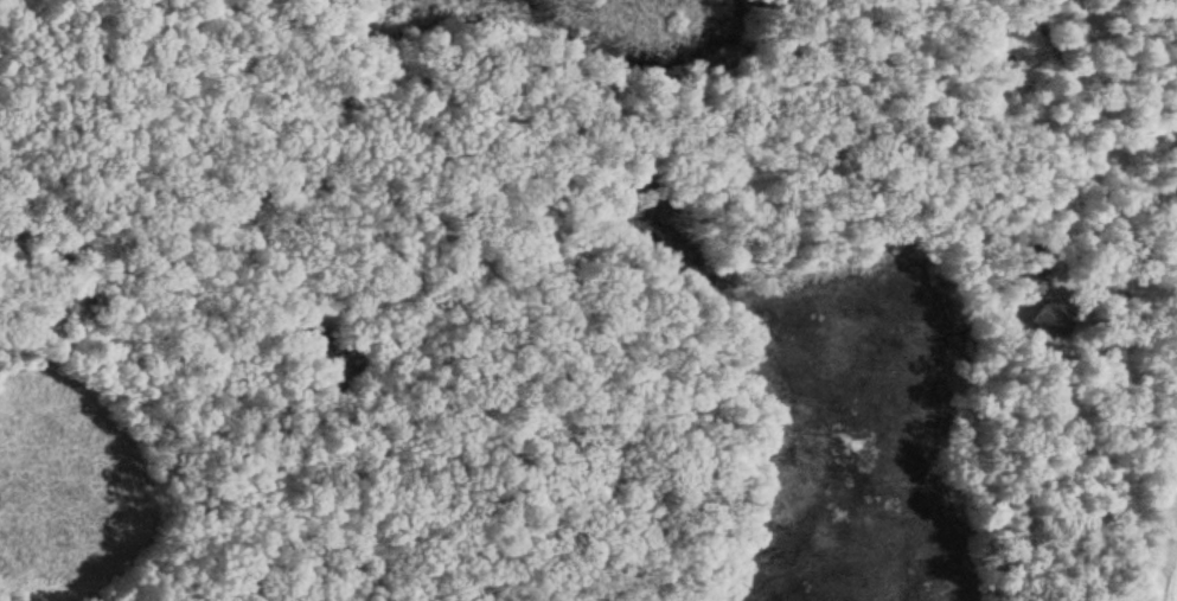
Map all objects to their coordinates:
building: (1048, 311)

